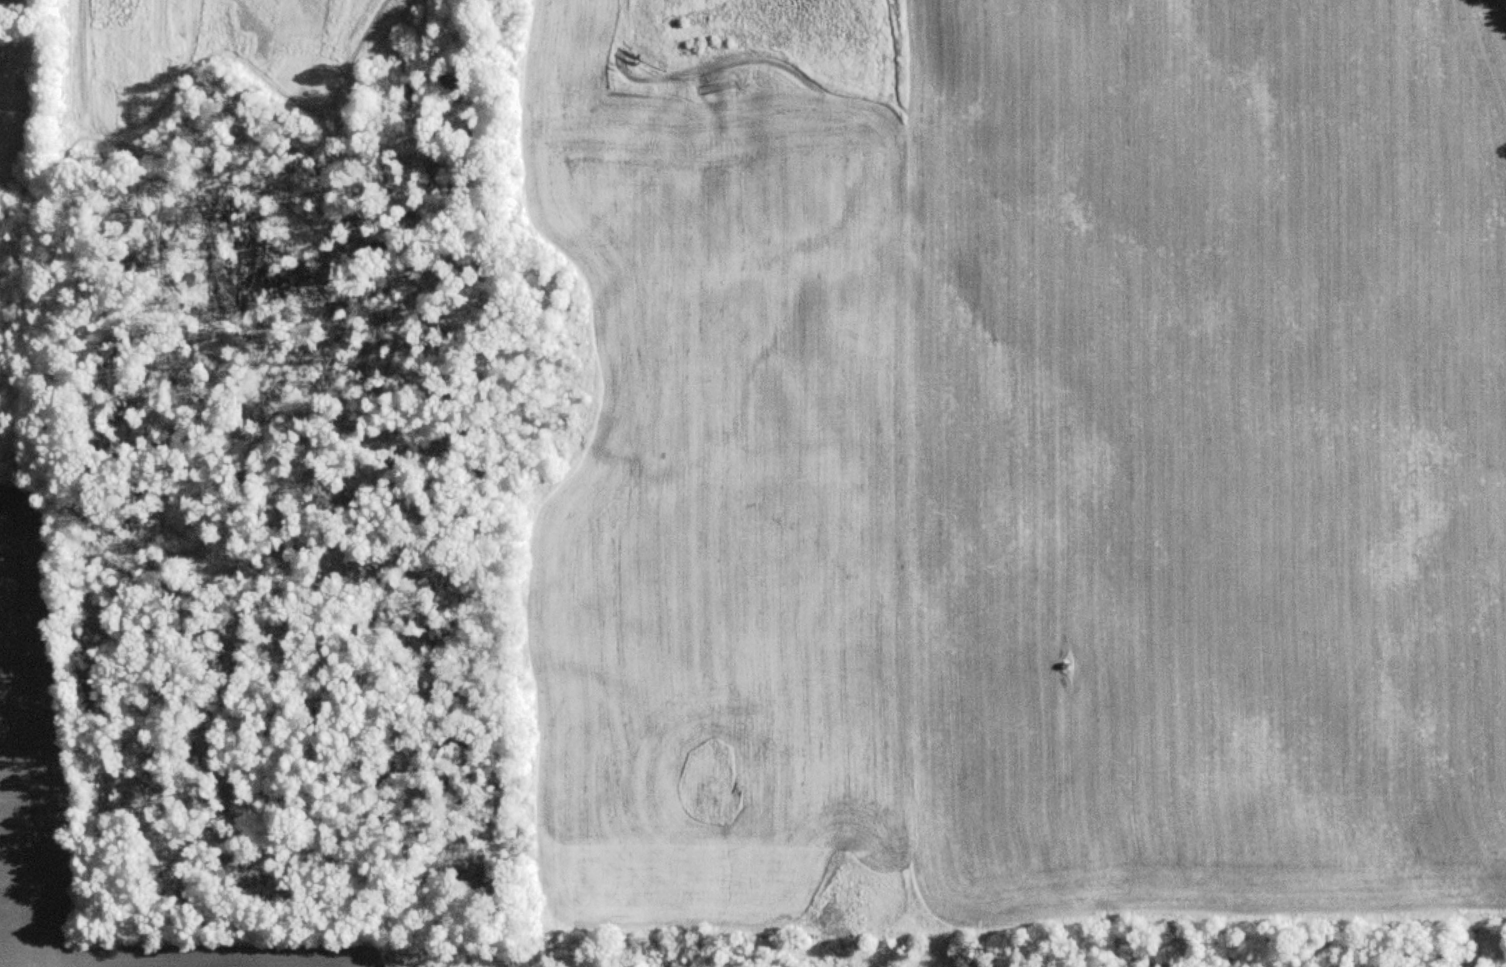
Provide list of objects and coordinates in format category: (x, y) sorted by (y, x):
crop: (1023, 470)

